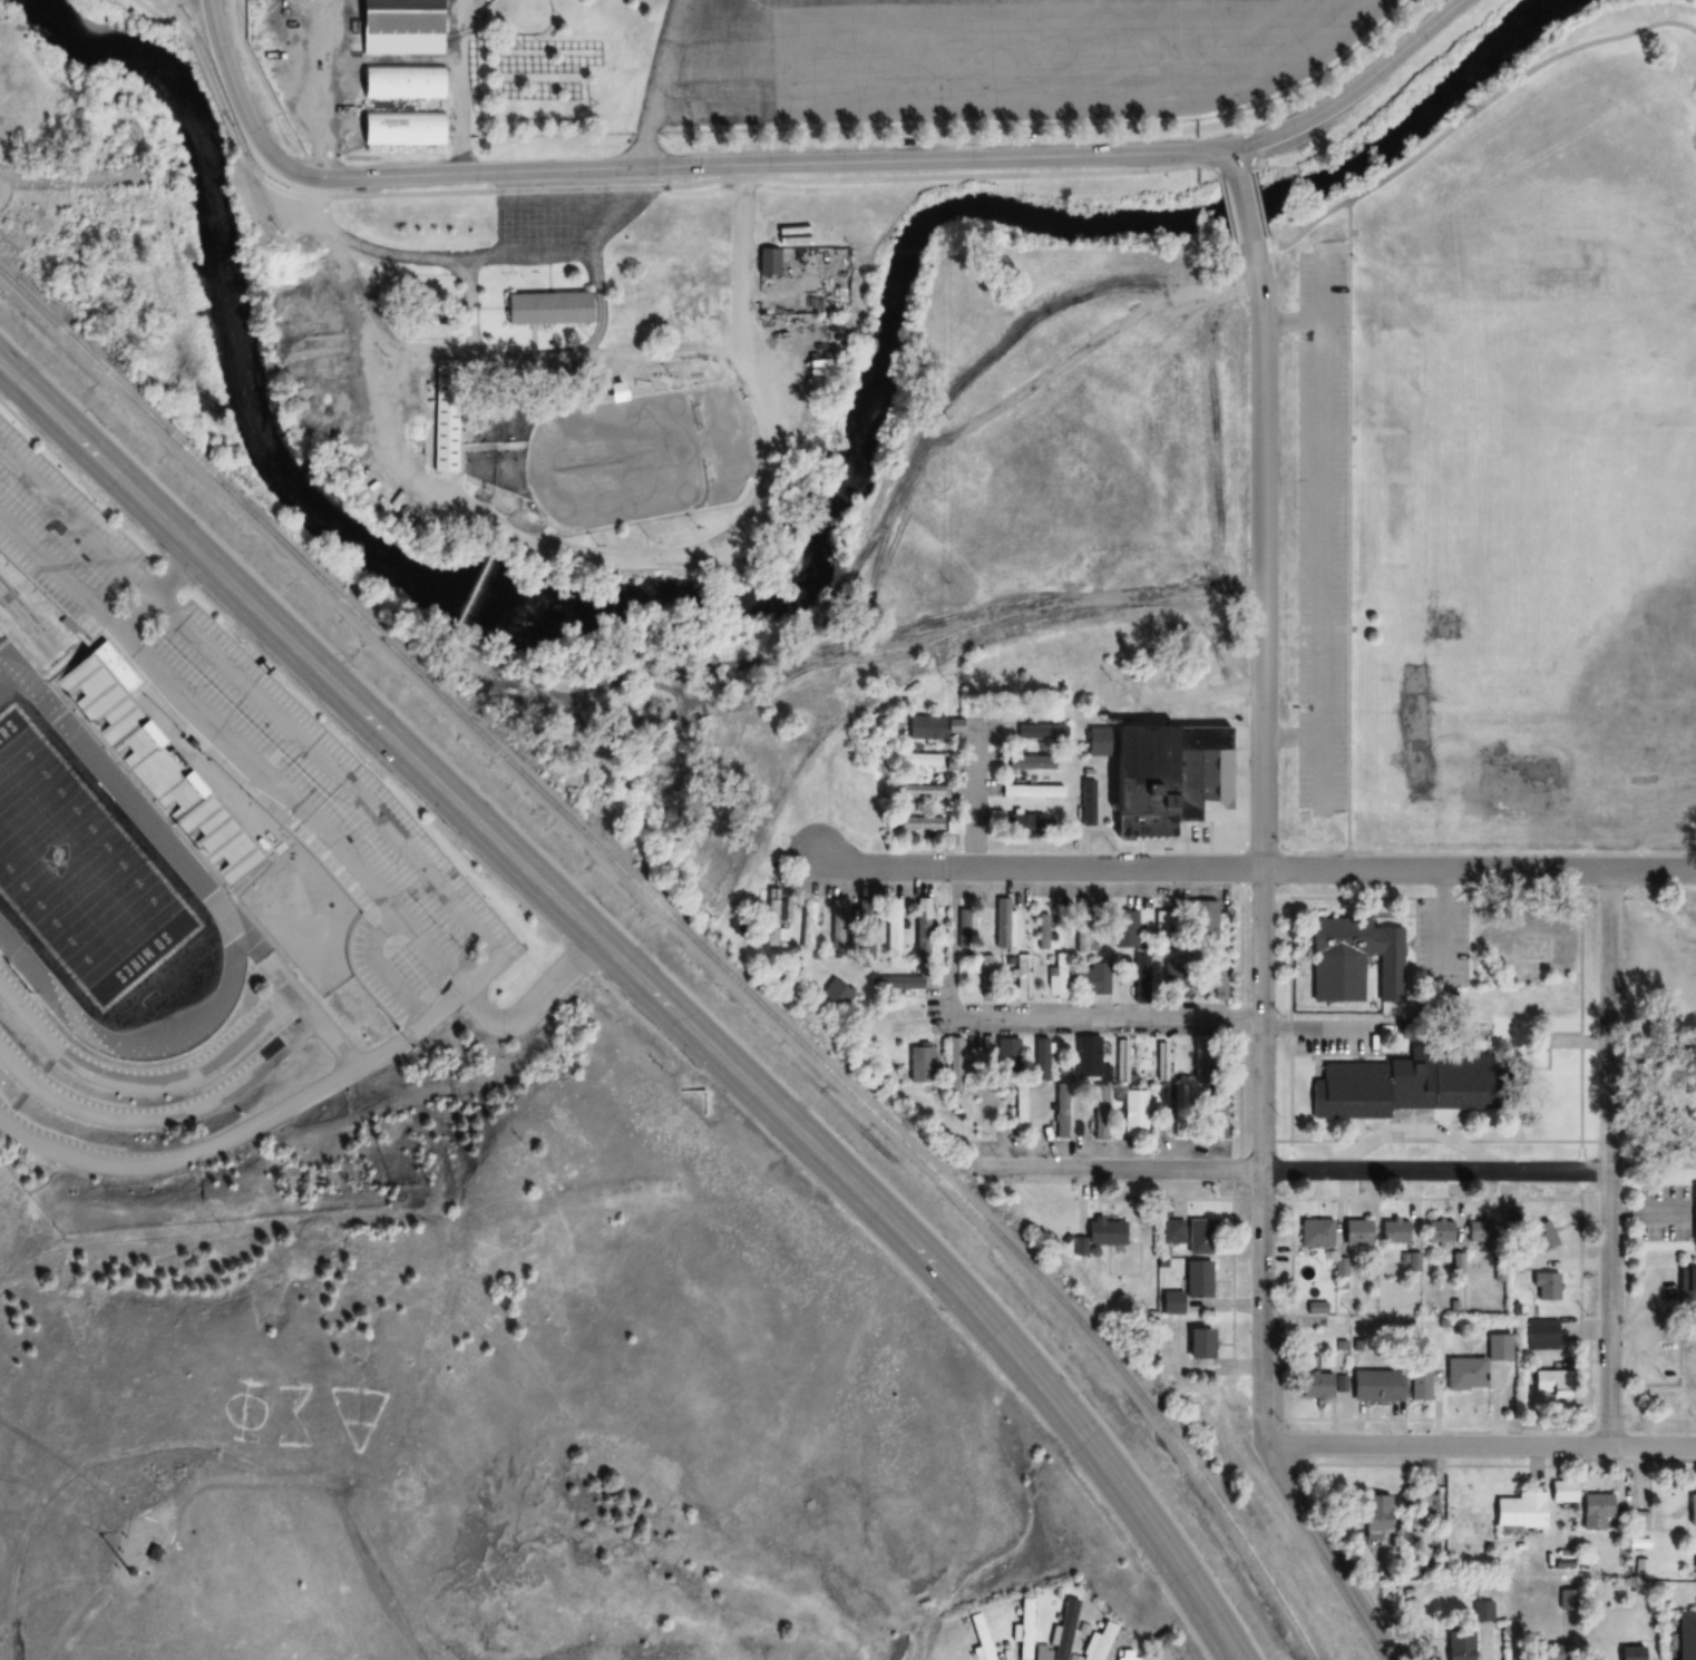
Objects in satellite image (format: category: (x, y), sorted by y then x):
building: (399, 28)
road: (173, 29)
building: (401, 82)
road: (234, 89)
building: (400, 129)
road: (897, 163)
road: (1234, 163)
road: (1246, 215)
building: (766, 263)
building: (807, 290)
building: (545, 309)
building: (444, 417)
park: (1531, 470)
river: (770, 590)
road: (157, 593)
building: (915, 726)
building: (1032, 732)
parking lot: (267, 751)
building: (150, 759)
building: (914, 760)
building: (1027, 762)
building: (1161, 778)
building: (915, 792)
building: (1031, 792)
road: (974, 797)
track: (134, 805)
road: (479, 823)
building: (918, 824)
building: (953, 827)
building: (1023, 827)
road: (1263, 849)
stadium: (204, 869)
road: (1256, 869)
park: (84, 872)
park: (282, 895)
building: (837, 920)
building: (866, 922)
building: (923, 922)
building: (1162, 924)
building: (808, 925)
building: (896, 925)
building: (1083, 925)
building: (963, 928)
building: (1123, 929)
building: (1042, 931)
railway: (692, 940)
road: (493, 954)
building: (1355, 960)
road: (663, 967)
building: (985, 967)
road: (388, 971)
building: (1056, 976)
building: (1022, 977)
building: (1141, 977)
building: (1173, 978)
building: (1219, 978)
building: (1093, 979)
building: (835, 992)
road: (632, 1008)
road: (480, 1009)
building: (891, 1014)
road: (1030, 1022)
building: (936, 1031)
building: (1011, 1051)
building: (1086, 1055)
building: (1041, 1058)
building: (1121, 1060)
building: (1161, 1061)
building: (919, 1063)
road: (191, 1075)
building: (1400, 1084)
building: (1216, 1098)
building: (1018, 1107)
building: (1178, 1110)
building: (978, 1111)
building: (1059, 1111)
building: (1100, 1112)
building: (1133, 1114)
road: (162, 1117)
building: (1218, 1130)
road: (182, 1156)
road: (1610, 1156)
road: (1294, 1170)
building: (1693, 1211)
building: (1439, 1230)
building: (1171, 1231)
building: (1394, 1231)
building: (1479, 1231)
building: (1104, 1232)
building: (1315, 1232)
building: (1355, 1232)
building: (1541, 1236)
building: (1198, 1237)
building: (1686, 1279)
building: (1187, 1287)
building: (1544, 1287)
building: (1540, 1335)
building: (1198, 1342)
building: (1475, 1364)
building: (1549, 1381)
building: (1420, 1384)
building: (1314, 1385)
building: (1375, 1385)
road: (1480, 1445)
road: (1105, 1465)
building: (1562, 1491)
building: (1692, 1510)
building: (1518, 1511)
building: (1595, 1512)
building: (1375, 1513)
building: (1639, 1521)
building: (179, 1545)
road: (1325, 1553)
building: (1694, 1554)
wind turbine: (155, 1568)
building: (1482, 1611)
building: (1022, 1629)
building: (1563, 1629)
building: (1059, 1634)
building: (978, 1637)
building: (1686, 1637)
building: (1098, 1641)
building: (1459, 1648)
building: (1631, 1653)
building: (1123, 1654)
building: (1074, 1658)

